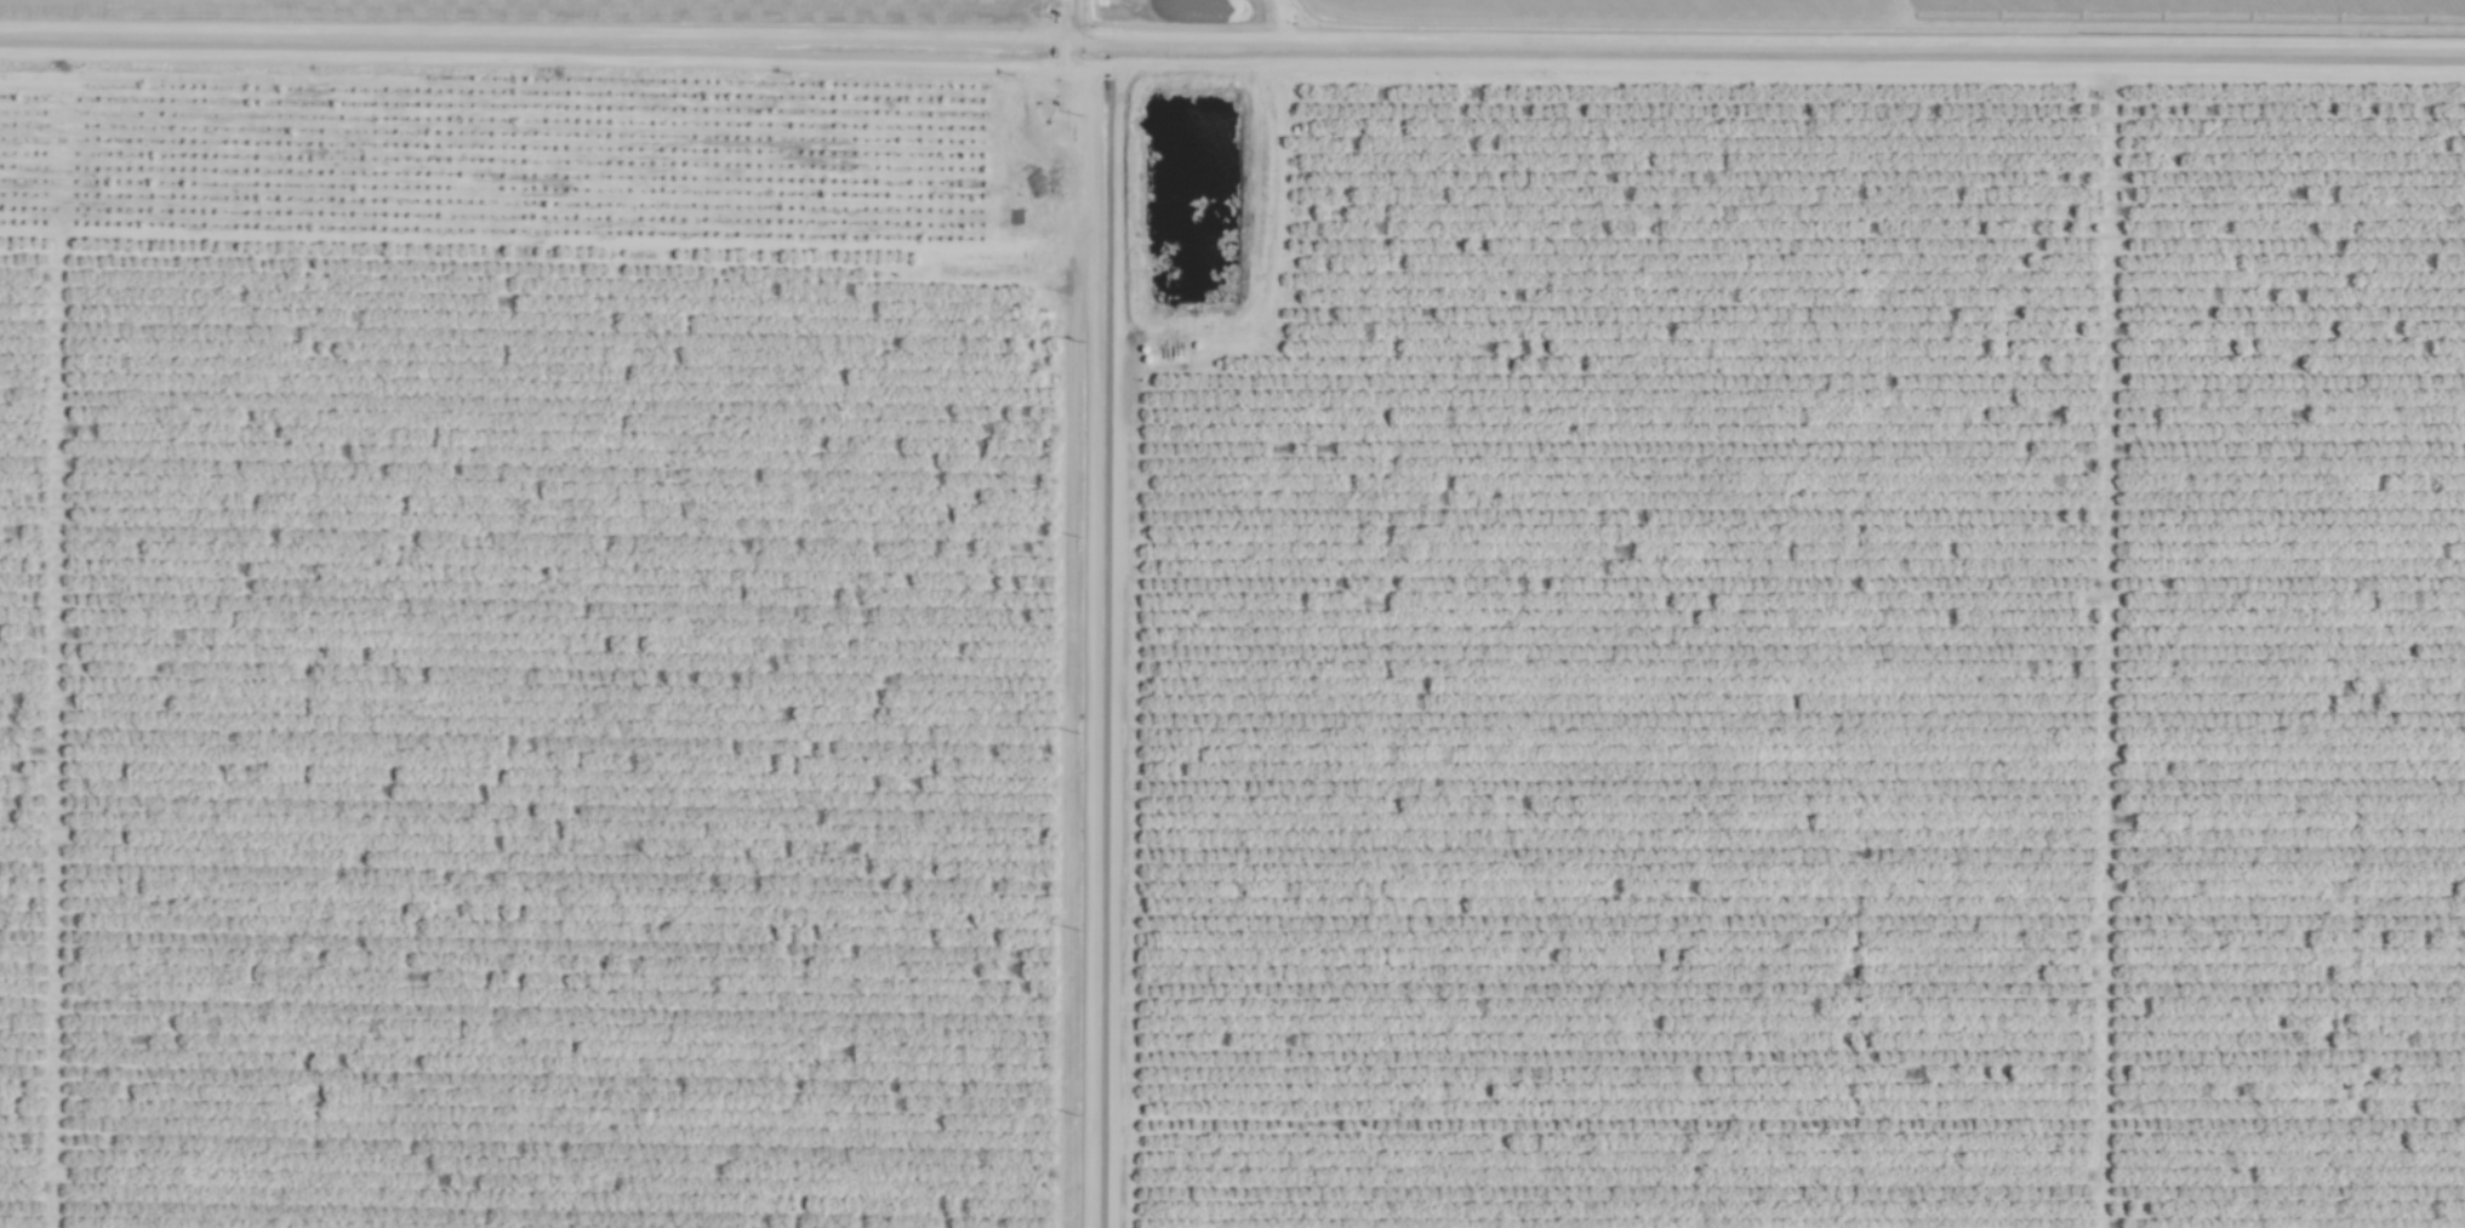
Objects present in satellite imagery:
crop: (1232, 613)
road: (1086, 647)

